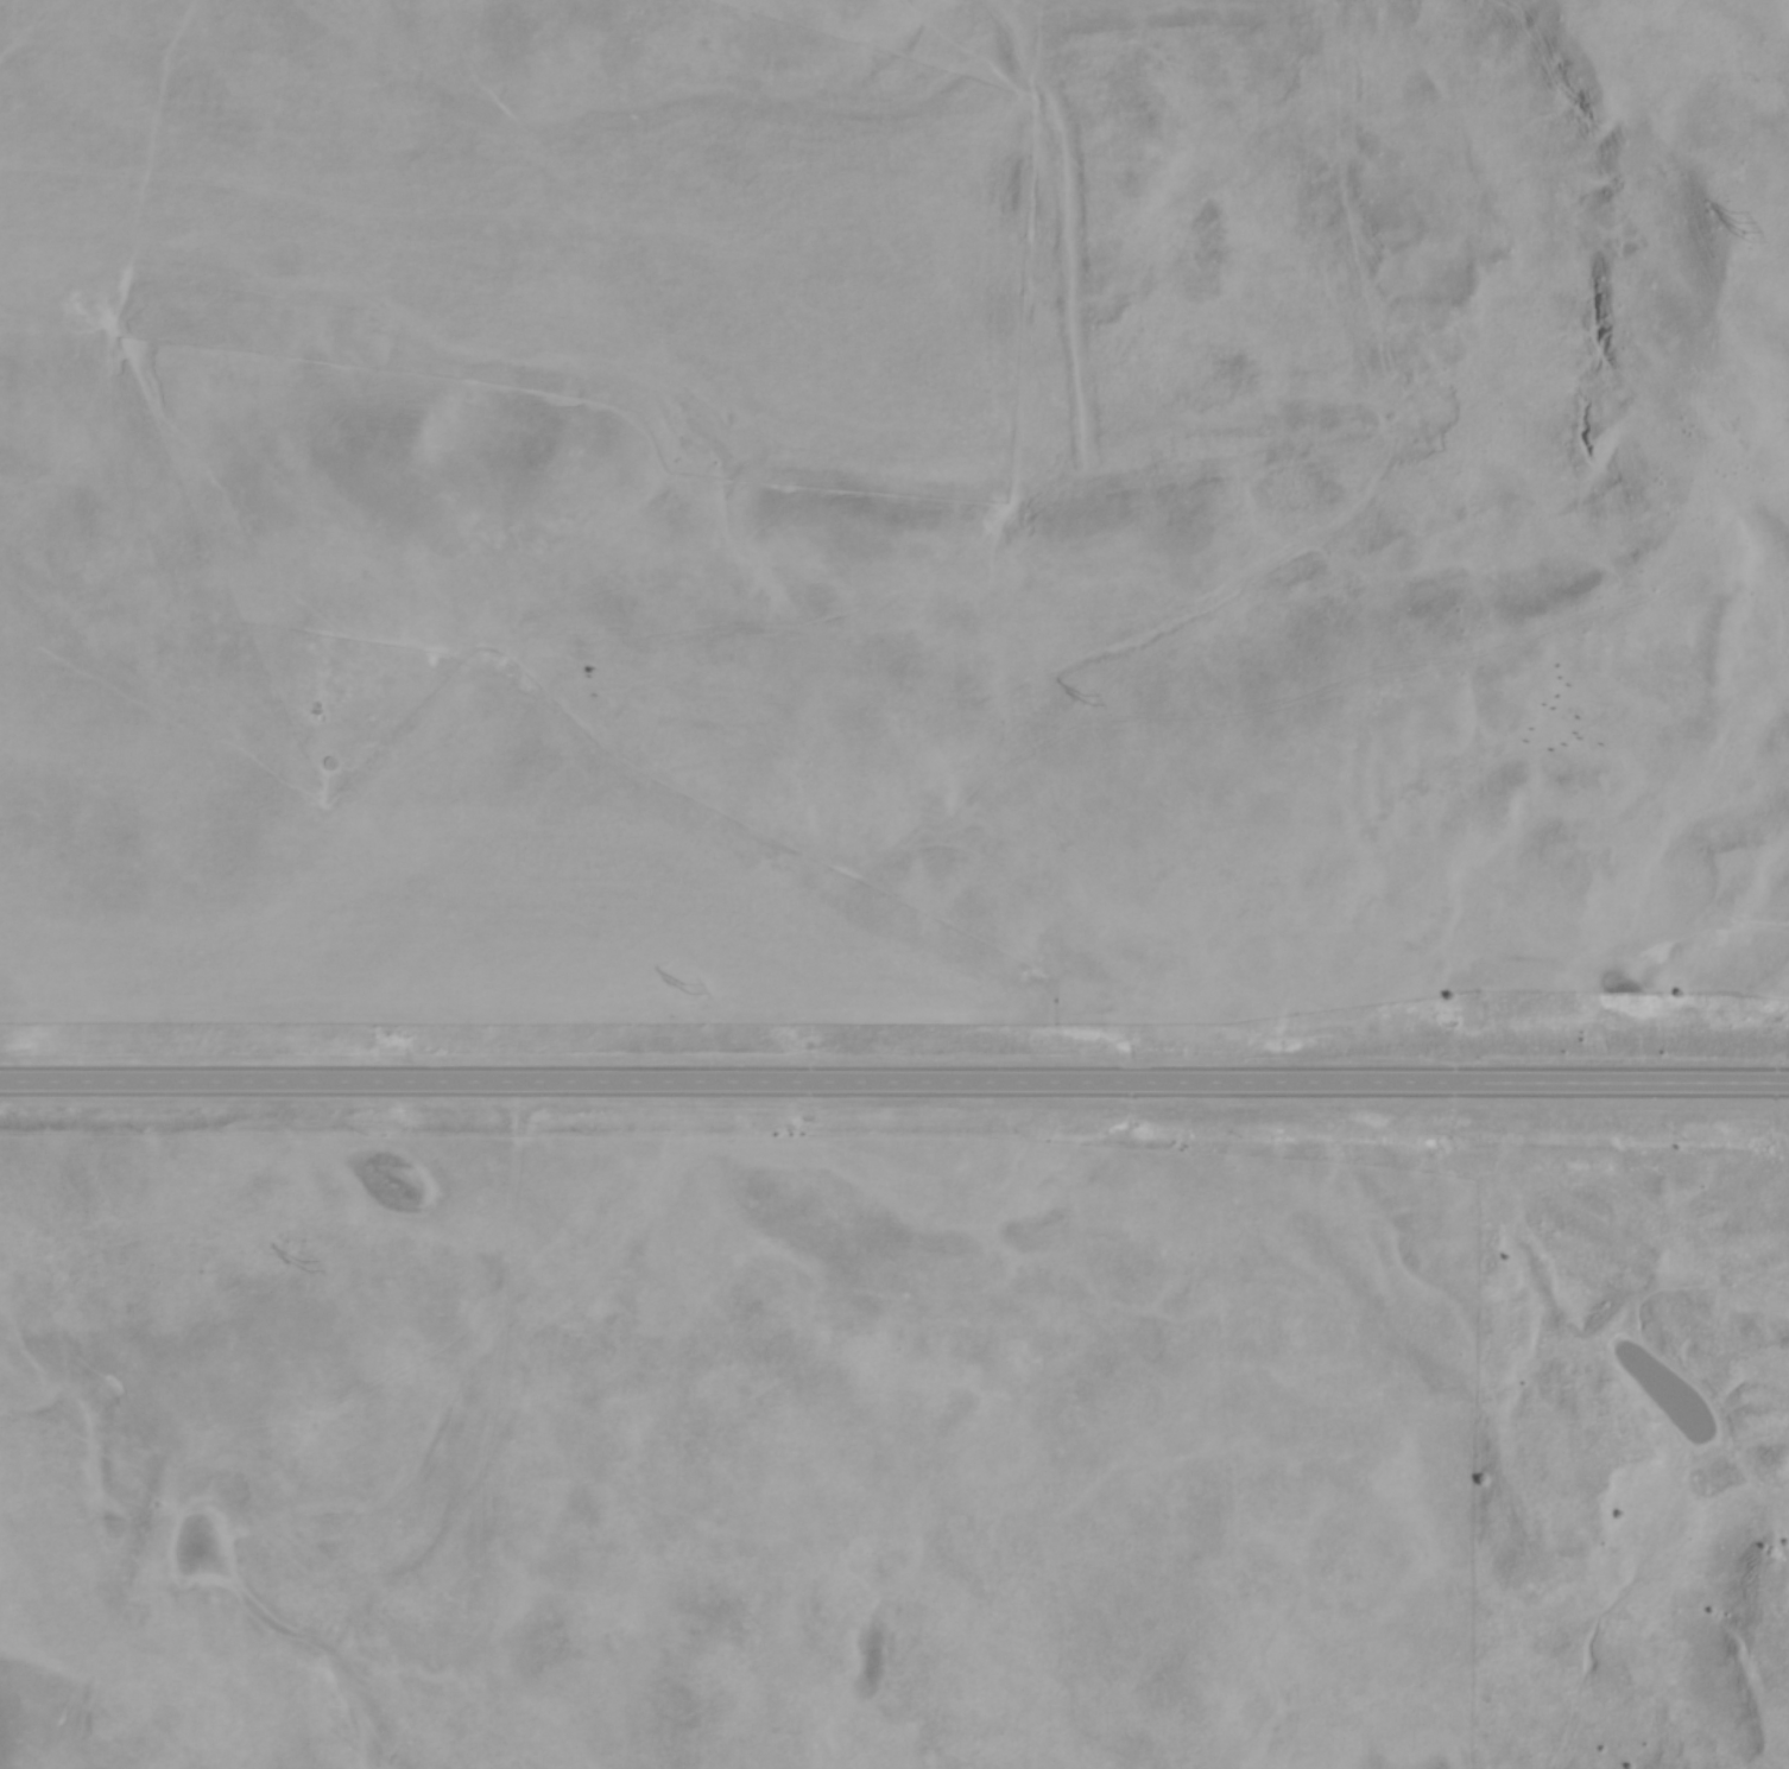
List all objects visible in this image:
power tower: (1739, 235)
power tower: (1085, 702)
power tower: (685, 991)
road: (894, 1080)
power tower: (303, 1269)

